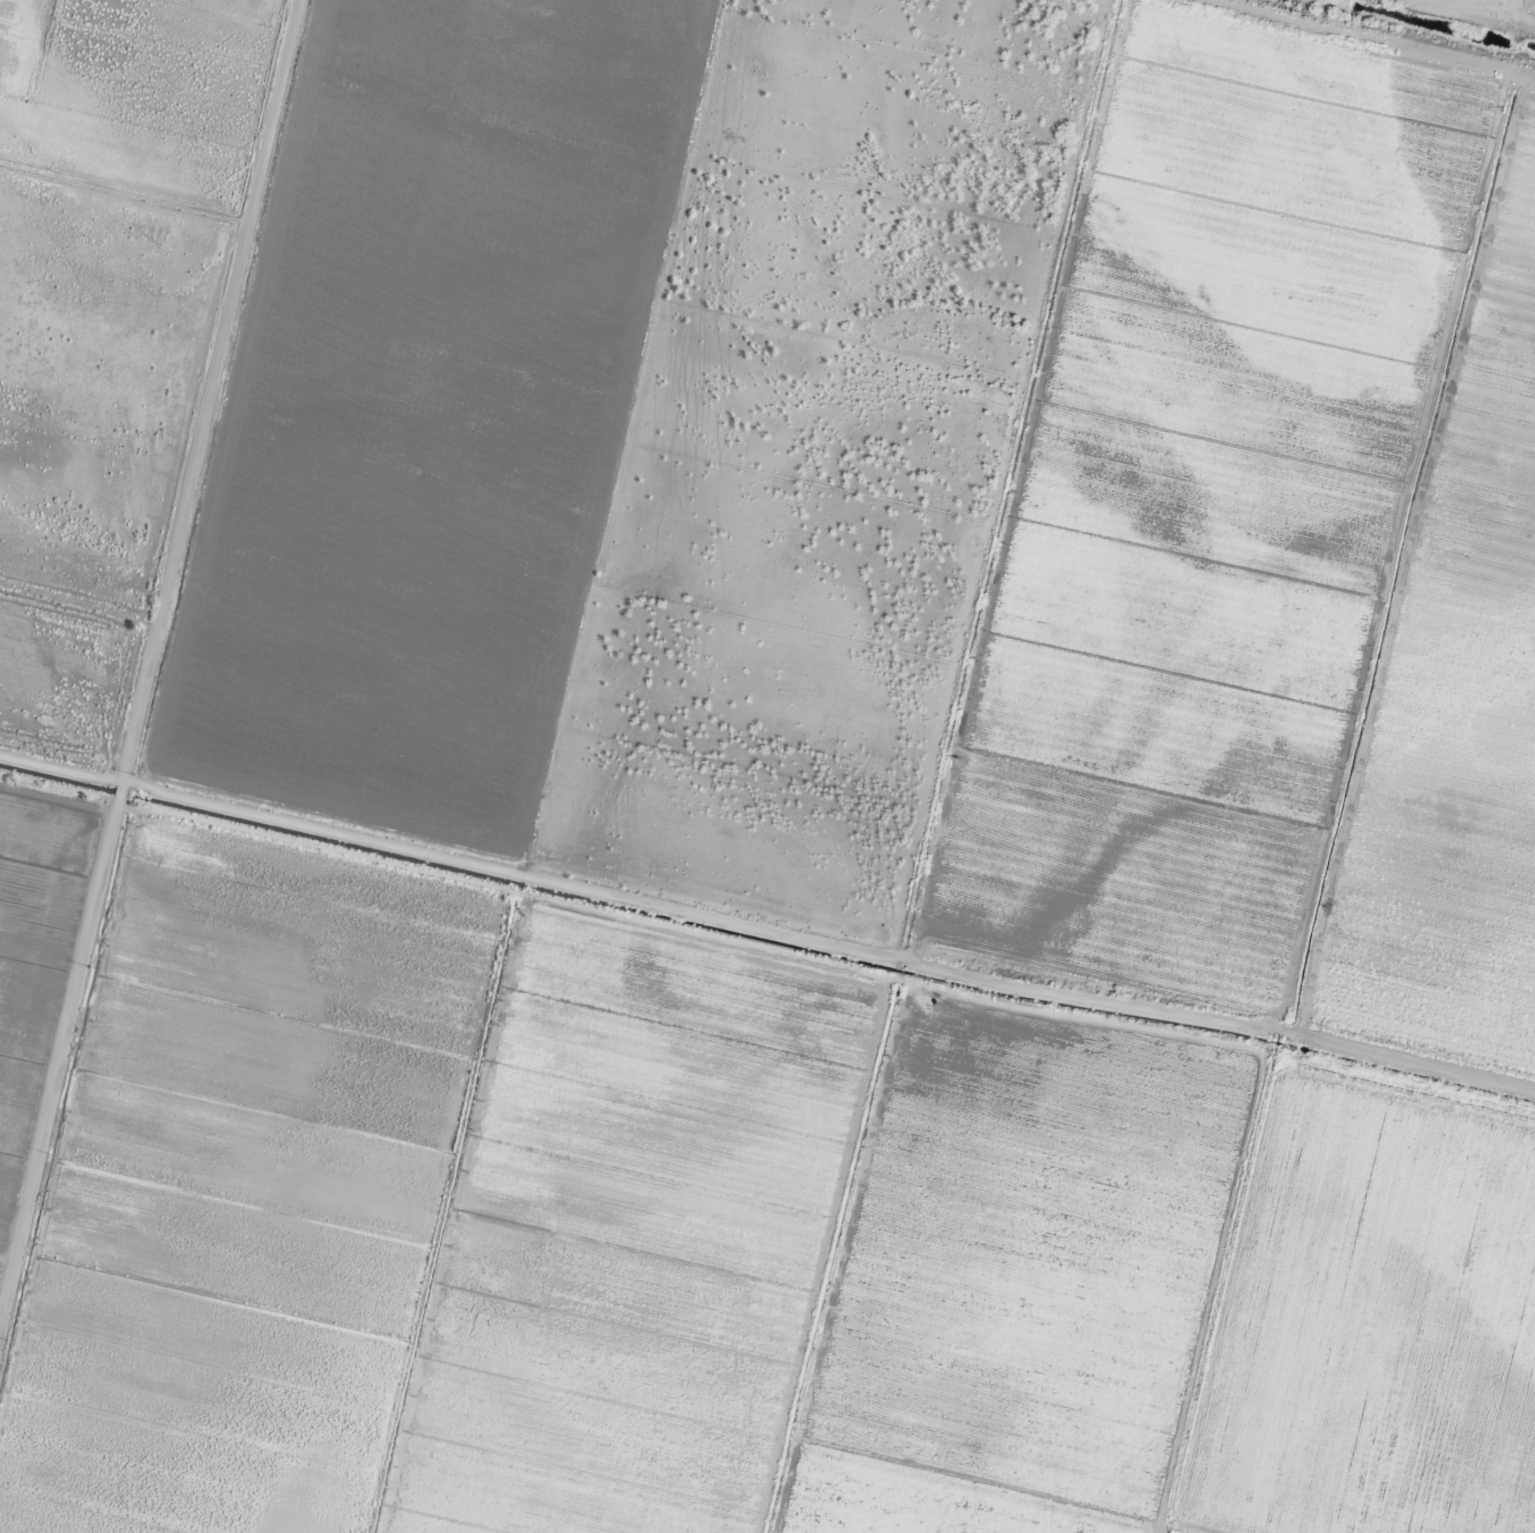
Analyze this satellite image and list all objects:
road: (149, 670)

